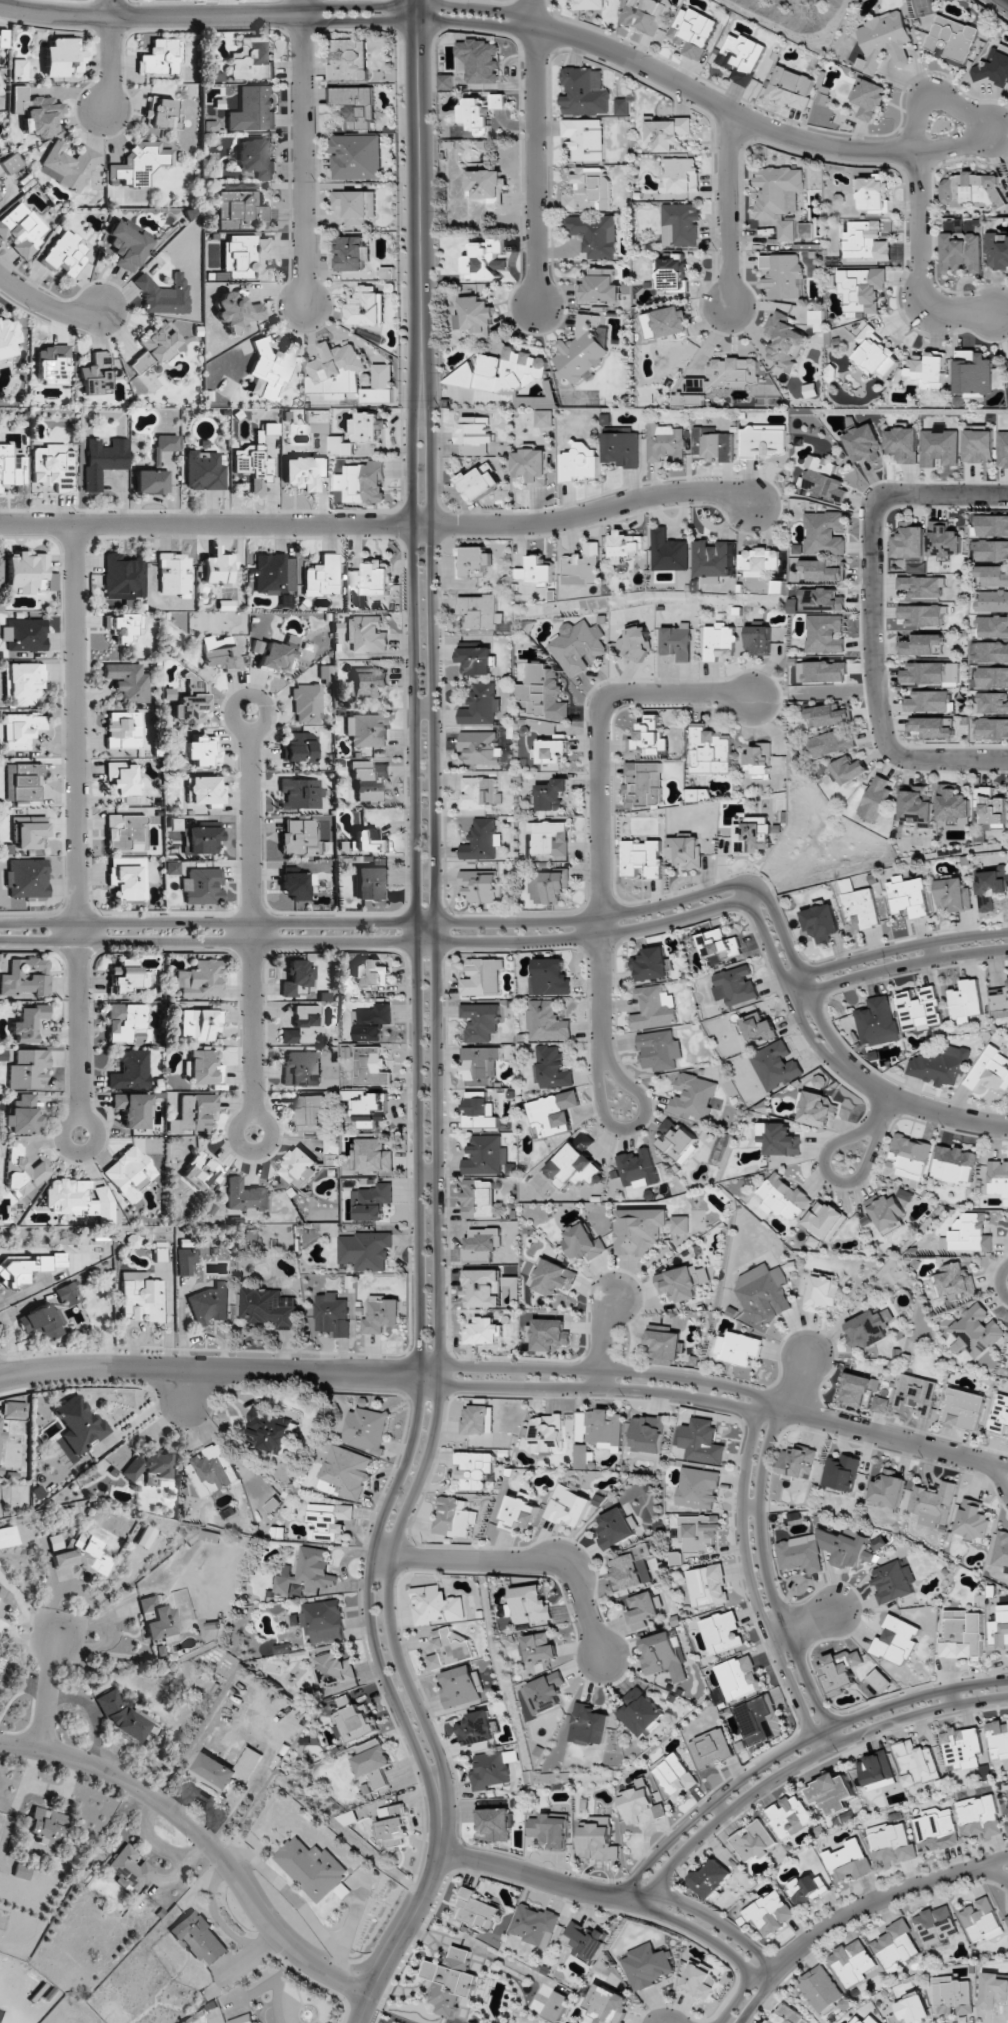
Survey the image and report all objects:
road: (418, 3)
building: (588, 4)
building: (645, 14)
road: (150, 15)
road: (417, 20)
building: (692, 31)
building: (4, 38)
building: (952, 39)
building: (884, 41)
road: (111, 54)
building: (62, 57)
building: (160, 57)
building: (741, 57)
building: (251, 59)
building: (349, 60)
building: (479, 60)
building: (995, 66)
building: (18, 70)
building: (447, 81)
building: (790, 88)
building: (584, 92)
building: (868, 97)
building: (354, 106)
building: (621, 106)
building: (253, 109)
building: (35, 111)
building: (481, 113)
building: (163, 114)
building: (209, 125)
building: (668, 133)
building: (584, 139)
road: (822, 145)
road: (536, 151)
road: (304, 154)
building: (356, 156)
building: (256, 158)
building: (11, 163)
building: (138, 164)
building: (69, 165)
building: (680, 175)
building: (486, 185)
building: (589, 190)
building: (971, 190)
road: (420, 191)
building: (779, 196)
building: (356, 205)
building: (240, 207)
road: (728, 210)
building: (680, 224)
building: (22, 228)
building: (805, 230)
building: (594, 234)
building: (866, 241)
building: (127, 244)
building: (961, 251)
building: (997, 252)
building: (65, 253)
building: (351, 253)
building: (244, 256)
building: (483, 260)
road: (918, 262)
building: (671, 274)
building: (781, 276)
building: (600, 287)
building: (862, 289)
building: (163, 294)
road: (47, 302)
building: (365, 307)
building: (236, 311)
building: (477, 316)
building: (817, 320)
building: (8, 338)
building: (785, 340)
building: (155, 346)
building: (581, 350)
building: (874, 354)
building: (1007, 360)
building: (52, 364)
building: (272, 367)
building: (927, 370)
building: (335, 371)
building: (502, 371)
building: (973, 372)
building: (96, 375)
building: (731, 375)
building: (382, 376)
building: (376, 395)
building: (537, 399)
building: (545, 418)
building: (319, 420)
building: (368, 427)
building: (270, 428)
building: (474, 435)
building: (762, 441)
building: (167, 442)
building: (665, 443)
building: (863, 444)
building: (902, 444)
building: (341, 446)
building: (713, 446)
building: (978, 447)
building: (939, 448)
building: (622, 449)
building: (1002, 449)
building: (103, 460)
building: (580, 463)
building: (531, 465)
building: (53, 466)
building: (252, 466)
building: (11, 467)
building: (203, 471)
building: (304, 471)
building: (824, 479)
building: (150, 481)
building: (363, 482)
building: (479, 482)
road: (379, 525)
building: (992, 525)
building: (825, 533)
building: (943, 539)
building: (910, 541)
building: (993, 550)
building: (668, 551)
building: (712, 560)
building: (473, 561)
building: (760, 562)
building: (582, 566)
building: (218, 568)
building: (24, 571)
building: (537, 571)
building: (821, 571)
building: (274, 573)
building: (174, 574)
building: (992, 576)
building: (122, 577)
building: (322, 577)
building: (355, 577)
building: (377, 578)
building: (922, 586)
building: (821, 599)
building: (992, 601)
building: (480, 612)
building: (921, 615)
road: (870, 620)
building: (992, 626)
building: (125, 627)
building: (24, 634)
building: (365, 634)
building: (825, 634)
building: (758, 639)
building: (677, 642)
building: (719, 642)
building: (636, 644)
building: (923, 645)
building: (577, 646)
building: (991, 652)
building: (221, 654)
building: (271, 655)
building: (476, 660)
building: (822, 671)
building: (931, 673)
building: (993, 677)
building: (23, 681)
building: (128, 681)
building: (368, 686)
building: (542, 692)
building: (929, 701)
building: (991, 703)
road: (424, 706)
building: (480, 706)
building: (190, 708)
building: (829, 715)
building: (932, 727)
building: (992, 729)
building: (21, 730)
building: (124, 730)
building: (365, 731)
building: (647, 737)
building: (832, 743)
building: (298, 747)
building: (479, 747)
building: (552, 748)
building: (201, 751)
building: (710, 751)
building: (850, 769)
building: (123, 778)
building: (369, 779)
building: (25, 781)
building: (645, 783)
building: (204, 791)
building: (301, 793)
building: (479, 793)
building: (699, 794)
building: (551, 795)
building: (877, 799)
road: (599, 801)
building: (953, 804)
building: (915, 807)
road: (78, 830)
building: (30, 832)
building: (126, 832)
building: (751, 834)
building: (298, 837)
building: (549, 838)
building: (201, 839)
building: (481, 840)
building: (367, 841)
building: (685, 851)
building: (642, 858)
building: (172, 868)
building: (27, 878)
building: (128, 878)
building: (371, 883)
building: (295, 885)
building: (550, 885)
building: (202, 886)
building: (480, 886)
building: (990, 886)
road: (744, 893)
building: (953, 894)
building: (908, 896)
building: (859, 905)
building: (821, 923)
road: (254, 924)
road: (374, 924)
road: (781, 935)
road: (373, 942)
building: (718, 944)
road: (768, 949)
road: (893, 950)
building: (651, 964)
road: (897, 967)
building: (370, 972)
building: (26, 977)
building: (126, 977)
building: (482, 977)
building: (550, 978)
building: (297, 979)
building: (200, 980)
building: (736, 985)
building: (965, 1001)
building: (1000, 1004)
building: (654, 1008)
building: (919, 1009)
building: (480, 1021)
building: (547, 1021)
building: (876, 1021)
building: (371, 1022)
building: (28, 1023)
building: (128, 1024)
building: (200, 1025)
building: (304, 1026)
building: (757, 1026)
road: (825, 1029)
road: (809, 1038)
building: (659, 1050)
building: (480, 1063)
building: (776, 1065)
building: (939, 1066)
building: (371, 1067)
building: (28, 1068)
building: (204, 1068)
building: (552, 1068)
building: (301, 1069)
building: (131, 1070)
building: (990, 1070)
road: (437, 1094)
road: (418, 1096)
building: (693, 1096)
building: (368, 1107)
road: (881, 1108)
building: (133, 1109)
building: (817, 1109)
building: (478, 1110)
road: (919, 1110)
building: (194, 1113)
building: (311, 1113)
building: (553, 1113)
building: (22, 1115)
road: (628, 1129)
building: (780, 1139)
building: (584, 1140)
building: (677, 1141)
building: (485, 1155)
building: (371, 1156)
building: (910, 1156)
building: (953, 1164)
building: (300, 1167)
building: (573, 1167)
building: (638, 1168)
building: (200, 1170)
building: (22, 1171)
building: (129, 1173)
road: (429, 1174)
road: (831, 1178)
building: (998, 1178)
building: (247, 1197)
building: (782, 1197)
building: (478, 1198)
building: (81, 1199)
building: (371, 1202)
building: (886, 1212)
building: (824, 1219)
building: (646, 1229)
building: (971, 1234)
building: (582, 1242)
building: (481, 1243)
building: (365, 1250)
building: (160, 1255)
building: (186, 1260)
building: (26, 1268)
building: (554, 1277)
building: (955, 1282)
road: (1000, 1283)
building: (678, 1284)
building: (482, 1288)
building: (822, 1293)
building: (68, 1294)
building: (142, 1295)
building: (762, 1295)
building: (210, 1304)
building: (269, 1307)
building: (332, 1314)
building: (381, 1314)
building: (42, 1322)
building: (868, 1328)
building: (977, 1330)
building: (483, 1331)
building: (549, 1334)
road: (599, 1340)
building: (664, 1344)
building: (739, 1348)
road: (209, 1367)
road: (600, 1369)
road: (791, 1382)
road: (597, 1388)
building: (858, 1389)
building: (916, 1393)
building: (880, 1404)
building: (962, 1408)
building: (15, 1409)
building: (999, 1415)
building: (476, 1420)
building: (79, 1424)
building: (599, 1428)
building: (367, 1429)
building: (270, 1430)
building: (2, 1431)
building: (648, 1433)
building: (547, 1434)
road: (894, 1438)
building: (703, 1441)
building: (582, 1456)
building: (797, 1461)
building: (149, 1465)
building: (1, 1469)
building: (213, 1470)
building: (475, 1470)
building: (841, 1472)
building: (346, 1473)
building: (699, 1488)
building: (888, 1491)
building: (934, 1503)
building: (568, 1506)
building: (518, 1512)
building: (453, 1517)
building: (974, 1519)
building: (329, 1521)
building: (615, 1528)
building: (698, 1535)
building: (8, 1536)
building: (210, 1536)
building: (145, 1537)
building: (845, 1548)
building: (1001, 1551)
building: (800, 1554)
road: (383, 1555)
road: (528, 1561)
building: (305, 1572)
building: (892, 1581)
road: (750, 1582)
road: (768, 1583)
building: (707, 1585)
building: (4, 1599)
building: (435, 1605)
building: (528, 1605)
building: (643, 1609)
building: (158, 1618)
building: (323, 1621)
road: (803, 1624)
building: (1000, 1629)
building: (722, 1632)
building: (962, 1634)
building: (896, 1640)
building: (540, 1647)
building: (449, 1648)
building: (662, 1656)
building: (1, 1663)
building: (334, 1669)
building: (841, 1669)
building: (739, 1677)
building: (878, 1680)
building: (461, 1686)
road: (47, 1688)
building: (545, 1693)
building: (640, 1712)
building: (127, 1719)
building: (759, 1720)
building: (353, 1721)
building: (588, 1725)
building: (476, 1728)
building: (998, 1739)
building: (961, 1747)
building: (710, 1748)
road: (793, 1750)
building: (372, 1757)
building: (916, 1763)
road: (802, 1764)
building: (228, 1766)
building: (491, 1769)
building: (876, 1771)
building: (674, 1775)
building: (831, 1793)
building: (640, 1804)
building: (1007, 1811)
building: (790, 1816)
building: (978, 1816)
building: (494, 1823)
building: (392, 1825)
building: (45, 1826)
building: (936, 1829)
building: (551, 1830)
road: (204, 1837)
building: (753, 1840)
building: (891, 1843)
building: (849, 1861)
building: (316, 1867)
building: (129, 1868)
road: (531, 1875)
building: (710, 1878)
building: (807, 1889)
road: (884, 1897)
road: (408, 1907)
building: (476, 1910)
building: (769, 1912)
building: (1007, 1917)
road: (709, 1918)
building: (981, 1920)
building: (533, 1924)
building: (936, 1925)
road: (701, 1935)
building: (198, 1937)
building: (547, 1940)
building: (586, 1941)
building: (896, 1945)
building: (459, 1957)
building: (852, 1962)
building: (646, 1966)
building: (698, 1982)
building: (449, 1988)
road: (744, 1989)
building: (821, 1990)
building: (993, 1992)
road: (758, 1996)
building: (952, 1996)
building: (608, 2004)
building: (556, 2006)
building: (911, 2010)
building: (787, 2015)
building: (242, 2019)
building: (865, 2020)

